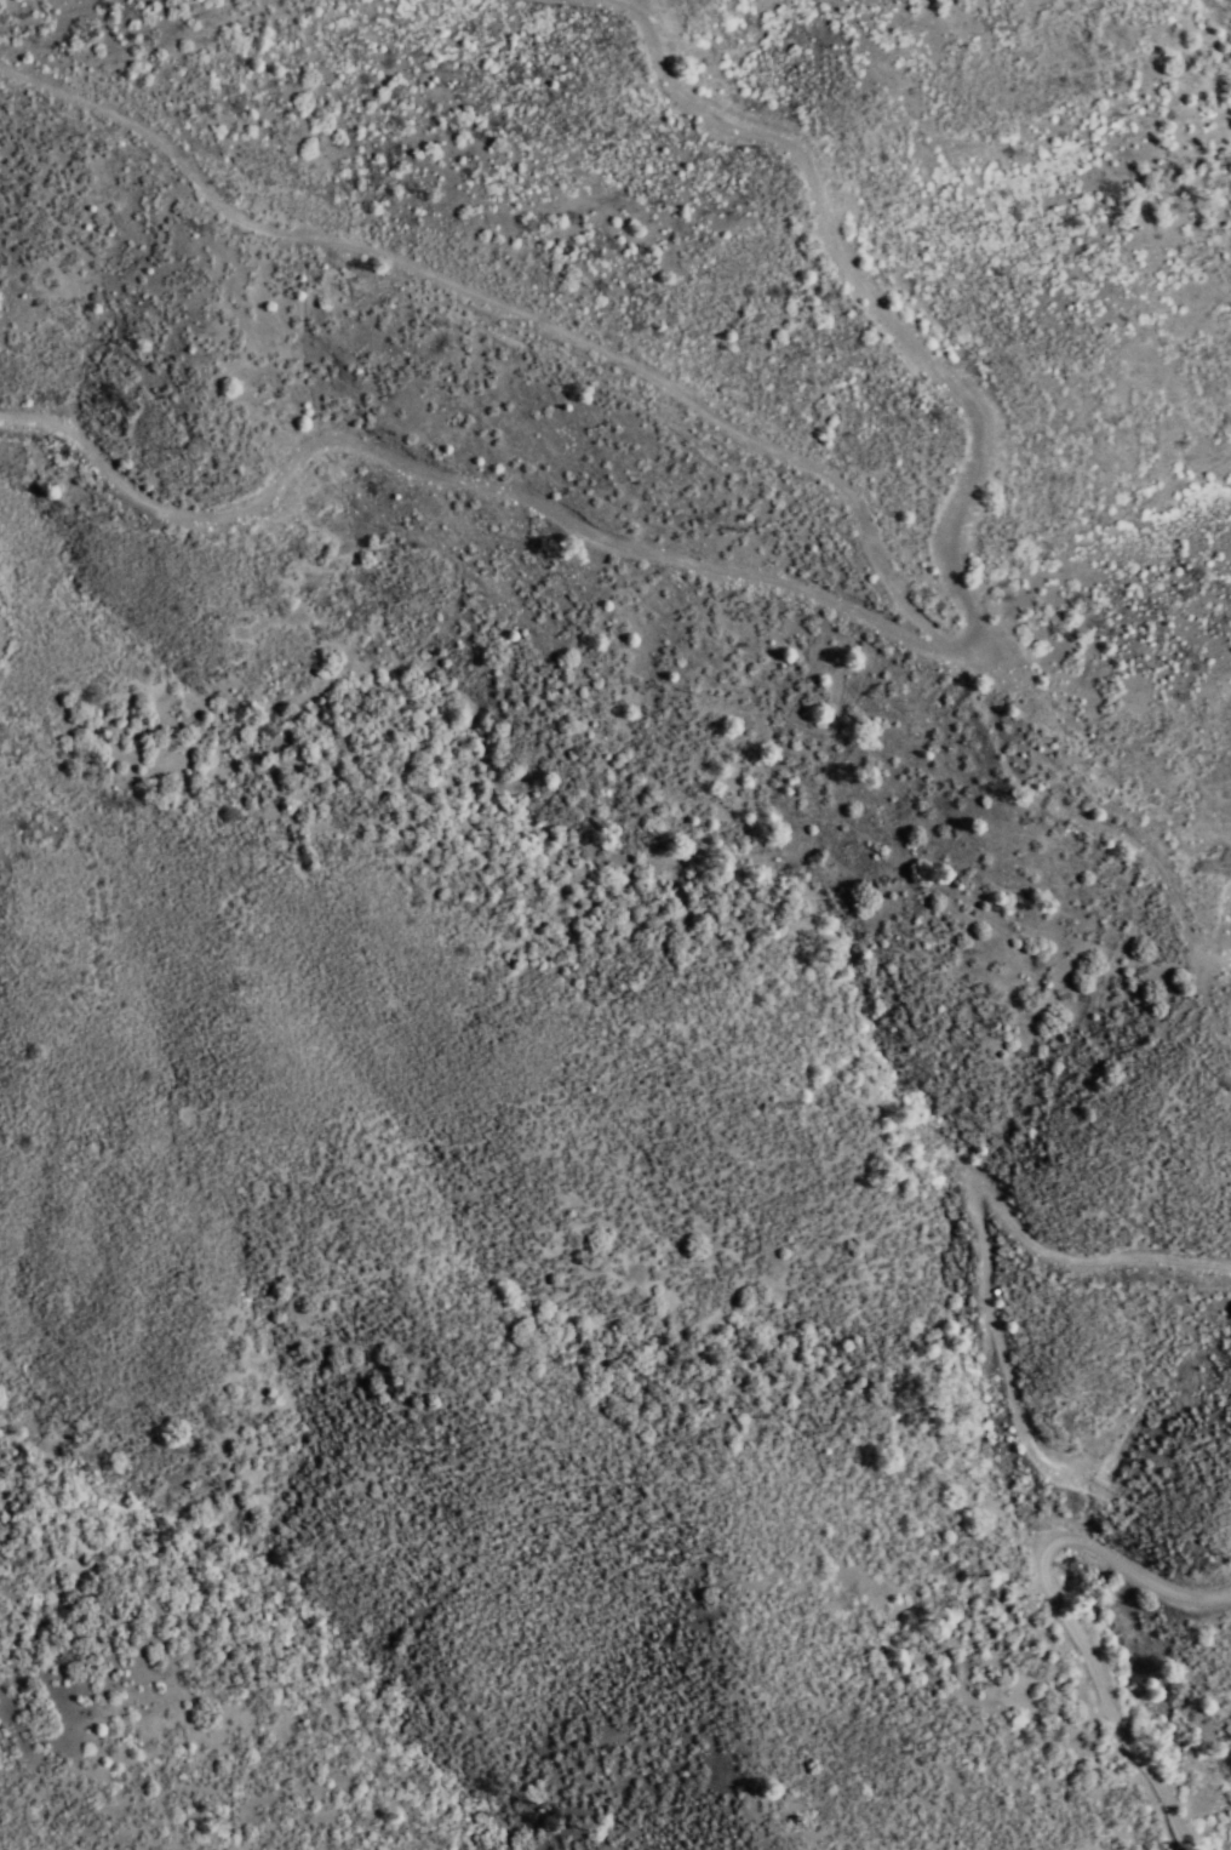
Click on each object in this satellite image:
road: (1046, 1604)

